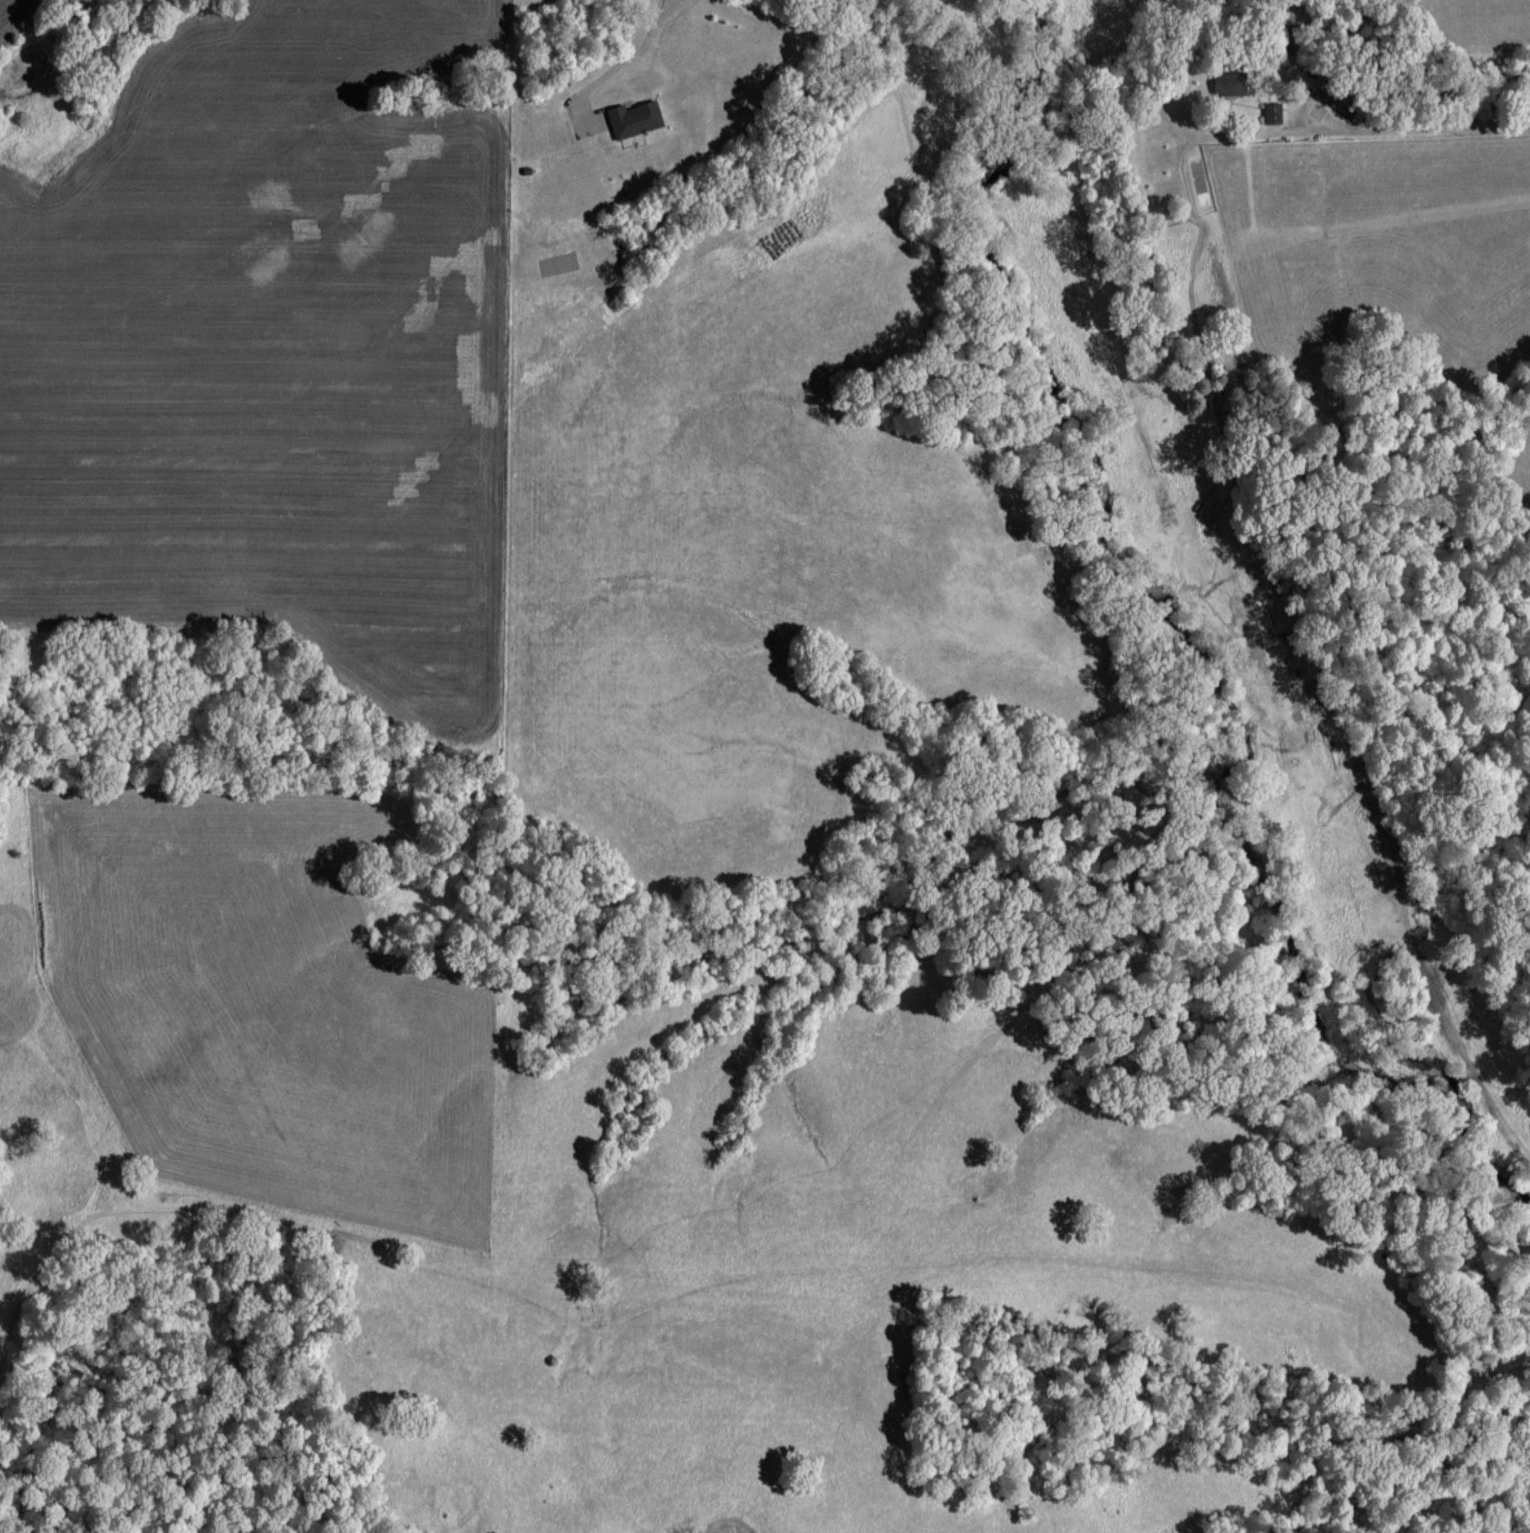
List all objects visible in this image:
road: (624, 51)
building: (1230, 82)
building: (1344, 103)
building: (1273, 112)
building: (634, 118)

